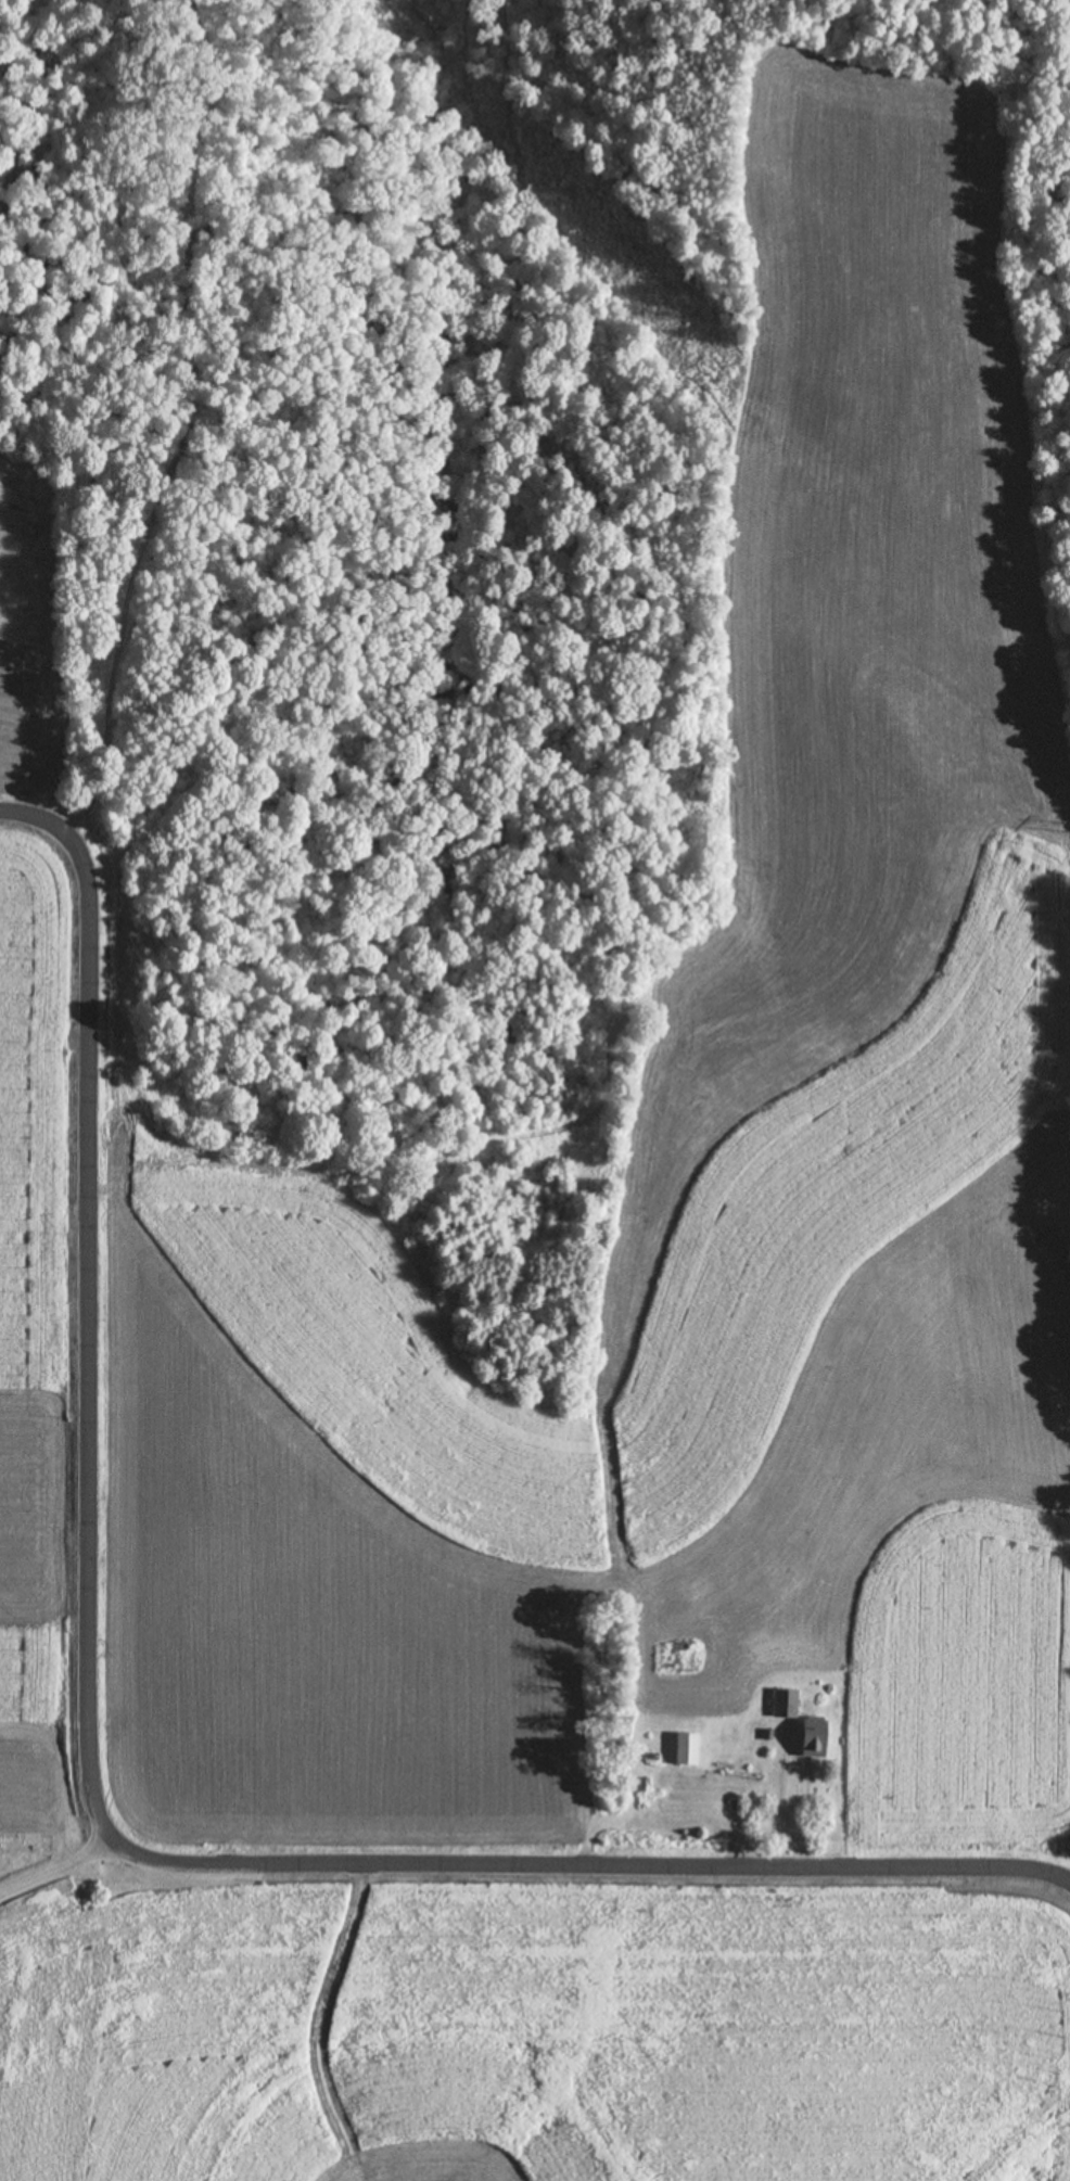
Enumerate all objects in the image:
power tower: (722, 385)
building: (781, 1704)
building: (808, 1737)
building: (683, 1749)
road: (90, 1784)
road: (54, 1862)

